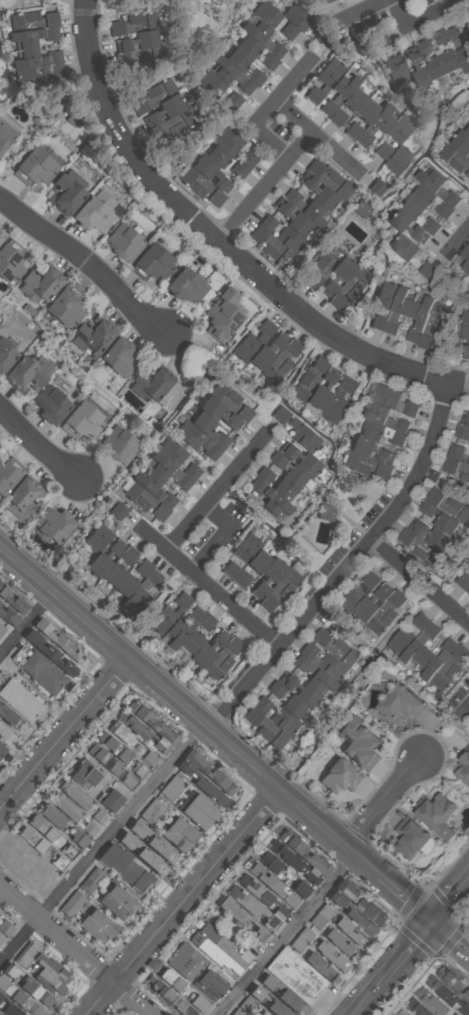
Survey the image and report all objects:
building: (468, 1)
building: (324, 2)
road: (365, 10)
building: (468, 10)
building: (267, 14)
building: (298, 16)
road: (416, 20)
building: (449, 35)
building: (263, 38)
building: (140, 44)
building: (459, 46)
building: (36, 51)
building: (447, 51)
building: (257, 52)
building: (390, 59)
building: (433, 60)
building: (245, 66)
building: (418, 70)
building: (232, 74)
building: (325, 79)
road: (293, 80)
building: (218, 88)
building: (339, 93)
building: (349, 106)
building: (164, 112)
building: (361, 119)
building: (376, 125)
road: (258, 131)
building: (467, 131)
building: (5, 134)
building: (394, 136)
road: (316, 139)
building: (462, 143)
building: (235, 146)
building: (398, 159)
building: (454, 159)
building: (227, 160)
building: (245, 164)
building: (37, 166)
building: (211, 172)
building: (329, 178)
building: (201, 186)
building: (377, 187)
building: (438, 187)
road: (265, 189)
building: (67, 192)
building: (320, 193)
building: (432, 201)
building: (306, 206)
building: (361, 208)
building: (93, 215)
building: (420, 215)
building: (295, 219)
building: (408, 225)
road: (468, 228)
building: (282, 234)
building: (1, 236)
building: (125, 242)
road: (220, 244)
building: (271, 246)
building: (411, 254)
building: (466, 259)
building: (9, 263)
building: (151, 263)
road: (87, 265)
building: (324, 265)
building: (339, 275)
building: (40, 284)
building: (187, 285)
building: (351, 287)
building: (384, 304)
building: (65, 307)
building: (399, 310)
building: (224, 315)
building: (419, 319)
building: (434, 325)
building: (92, 336)
building: (463, 337)
building: (253, 341)
building: (268, 353)
building: (119, 355)
building: (6, 356)
building: (282, 361)
building: (27, 374)
building: (310, 378)
building: (151, 384)
building: (321, 390)
building: (232, 399)
building: (390, 399)
building: (337, 400)
building: (51, 404)
building: (219, 412)
building: (384, 418)
building: (465, 418)
building: (83, 421)
building: (210, 429)
building: (297, 430)
building: (462, 432)
building: (382, 433)
building: (198, 440)
road: (39, 444)
building: (121, 445)
building: (371, 450)
building: (457, 454)
building: (178, 458)
building: (302, 461)
building: (367, 465)
building: (288, 468)
building: (169, 470)
building: (456, 470)
building: (9, 474)
building: (276, 483)
building: (154, 487)
road: (214, 493)
building: (22, 500)
building: (145, 501)
building: (276, 503)
building: (449, 506)
building: (326, 512)
building: (439, 518)
building: (54, 524)
building: (105, 529)
building: (433, 536)
road: (224, 538)
building: (421, 549)
building: (242, 555)
building: (105, 558)
building: (467, 562)
road: (348, 565)
building: (252, 567)
building: (119, 568)
building: (237, 573)
building: (269, 576)
building: (135, 578)
building: (463, 581)
road: (420, 583)
building: (280, 589)
building: (143, 591)
building: (468, 592)
building: (357, 593)
road: (220, 599)
building: (12, 600)
building: (0, 603)
building: (371, 605)
building: (169, 613)
building: (385, 613)
building: (8, 617)
road: (28, 626)
building: (183, 627)
building: (2, 628)
building: (197, 634)
building: (406, 636)
building: (59, 641)
building: (420, 646)
building: (334, 647)
building: (207, 651)
building: (51, 654)
building: (222, 659)
building: (437, 659)
building: (323, 662)
building: (449, 669)
building: (42, 673)
building: (313, 674)
building: (301, 691)
building: (286, 698)
building: (20, 700)
building: (399, 705)
road: (190, 709)
road: (465, 709)
building: (278, 715)
building: (8, 717)
building: (146, 722)
building: (265, 727)
building: (122, 731)
building: (3, 732)
road: (65, 734)
building: (148, 736)
building: (360, 748)
building: (2, 750)
building: (123, 759)
building: (464, 769)
building: (209, 771)
building: (84, 773)
building: (340, 777)
building: (202, 785)
building: (171, 788)
building: (76, 793)
building: (111, 801)
road: (386, 801)
building: (66, 805)
building: (152, 811)
building: (199, 812)
building: (101, 815)
building: (52, 817)
building: (436, 817)
building: (38, 833)
building: (179, 835)
building: (410, 839)
building: (79, 840)
road: (102, 842)
building: (152, 842)
building: (303, 853)
building: (142, 854)
building: (269, 861)
building: (293, 861)
building: (125, 869)
building: (91, 880)
building: (272, 885)
building: (300, 888)
road: (410, 896)
road: (183, 901)
building: (360, 902)
building: (116, 903)
road: (453, 903)
building: (71, 904)
building: (250, 905)
building: (352, 913)
building: (240, 917)
traffic signals: (437, 923)
building: (97, 926)
building: (5, 929)
building: (340, 931)
road: (288, 933)
road: (468, 934)
road: (452, 939)
building: (216, 948)
road: (75, 950)
road: (410, 952)
building: (182, 961)
building: (49, 966)
building: (295, 975)
building: (170, 979)
building: (48, 982)
building: (209, 984)
building: (456, 985)
building: (29, 988)
building: (447, 996)
road: (369, 998)
building: (171, 999)
building: (198, 1003)
building: (433, 1003)
building: (245, 1007)
building: (9, 1008)
building: (417, 1008)
building: (401, 1012)
building: (265, 1013)
building: (0, 1014)

